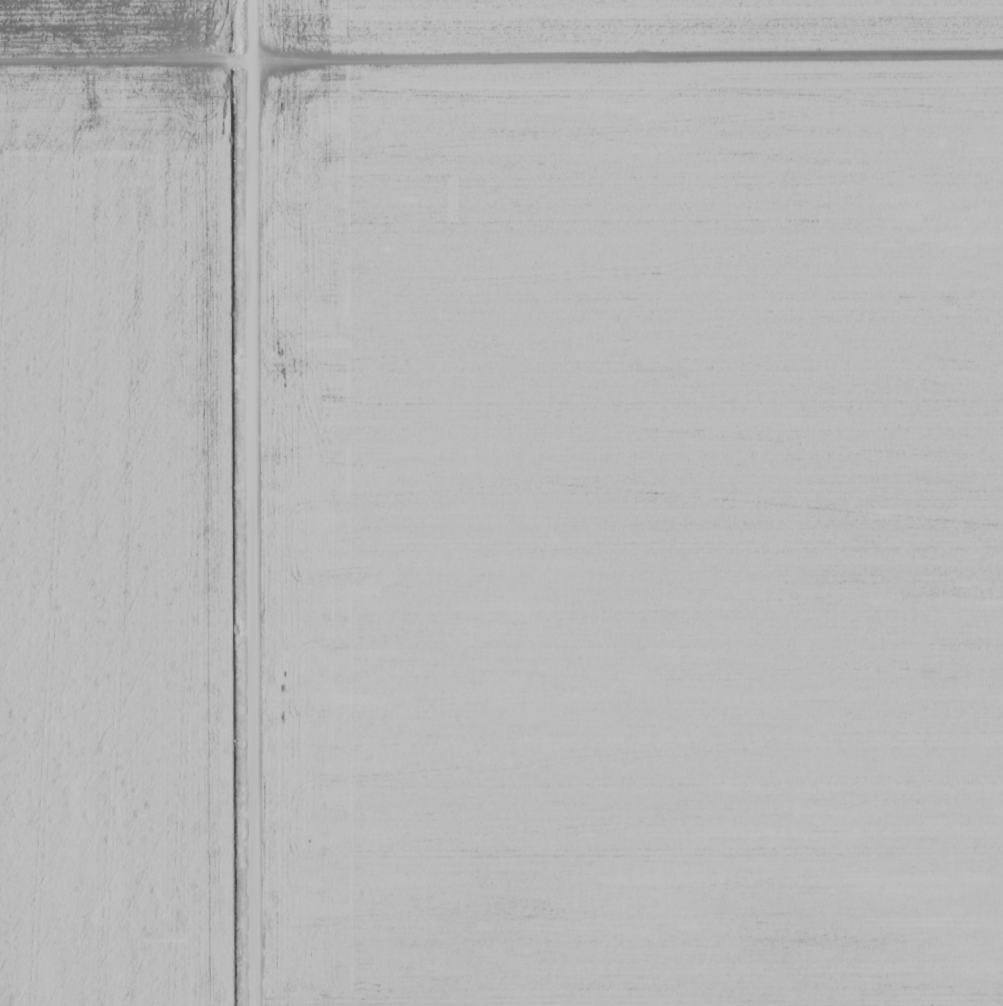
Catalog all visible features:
road: (501, 67)
road: (254, 503)

